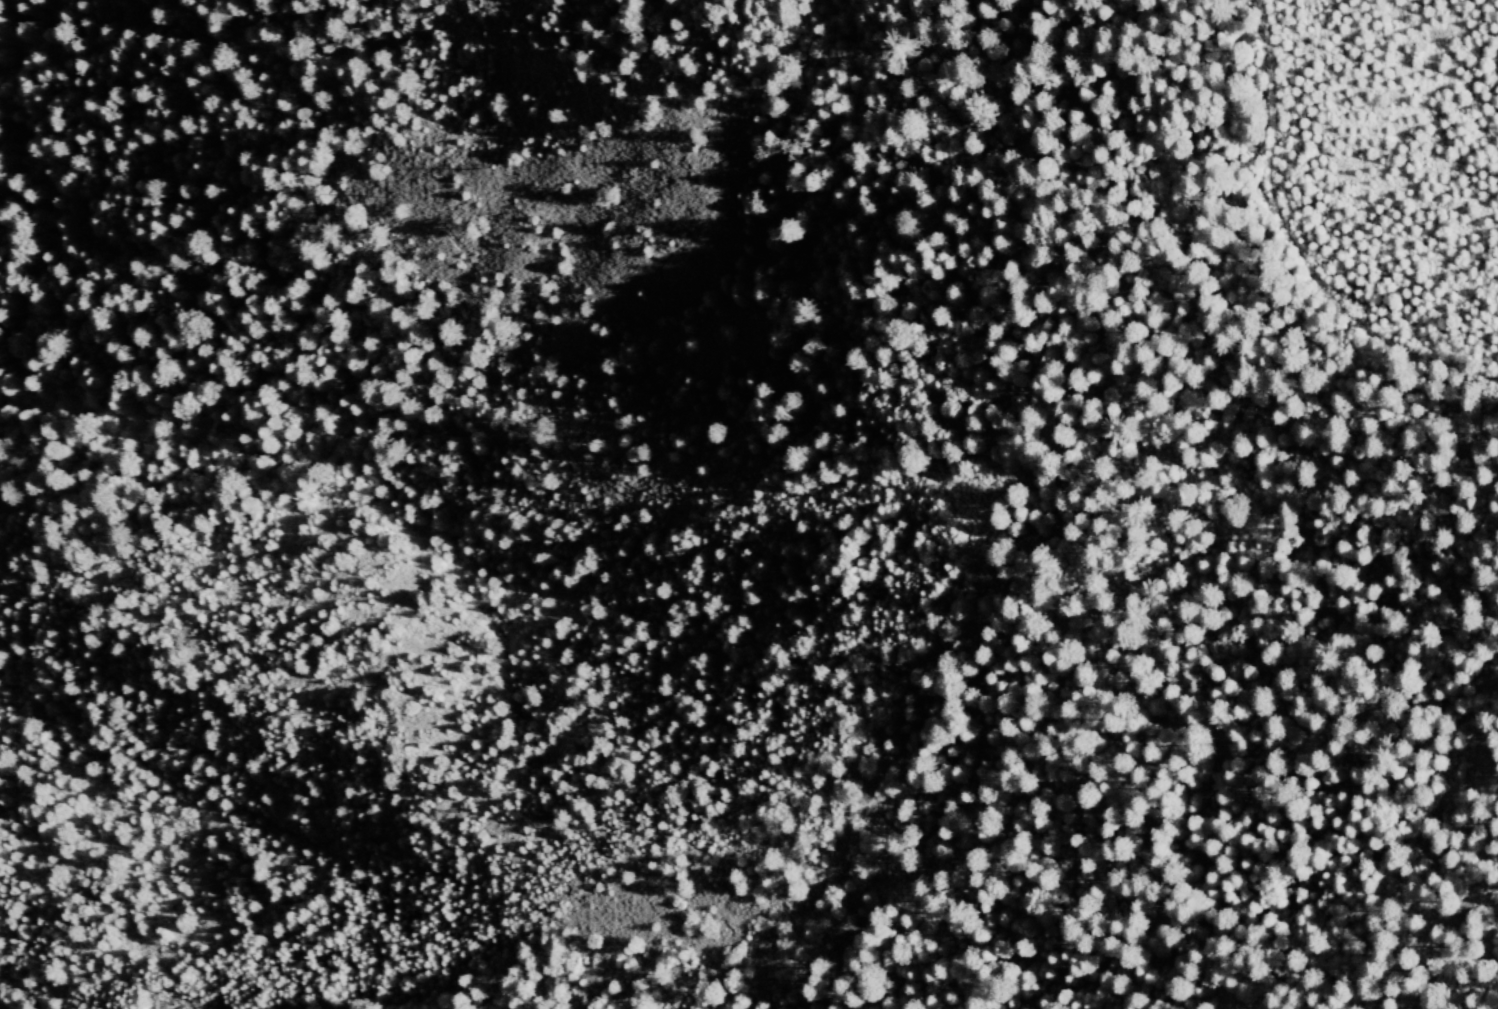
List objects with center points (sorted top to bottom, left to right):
road: (1483, 908)
road: (1459, 917)

